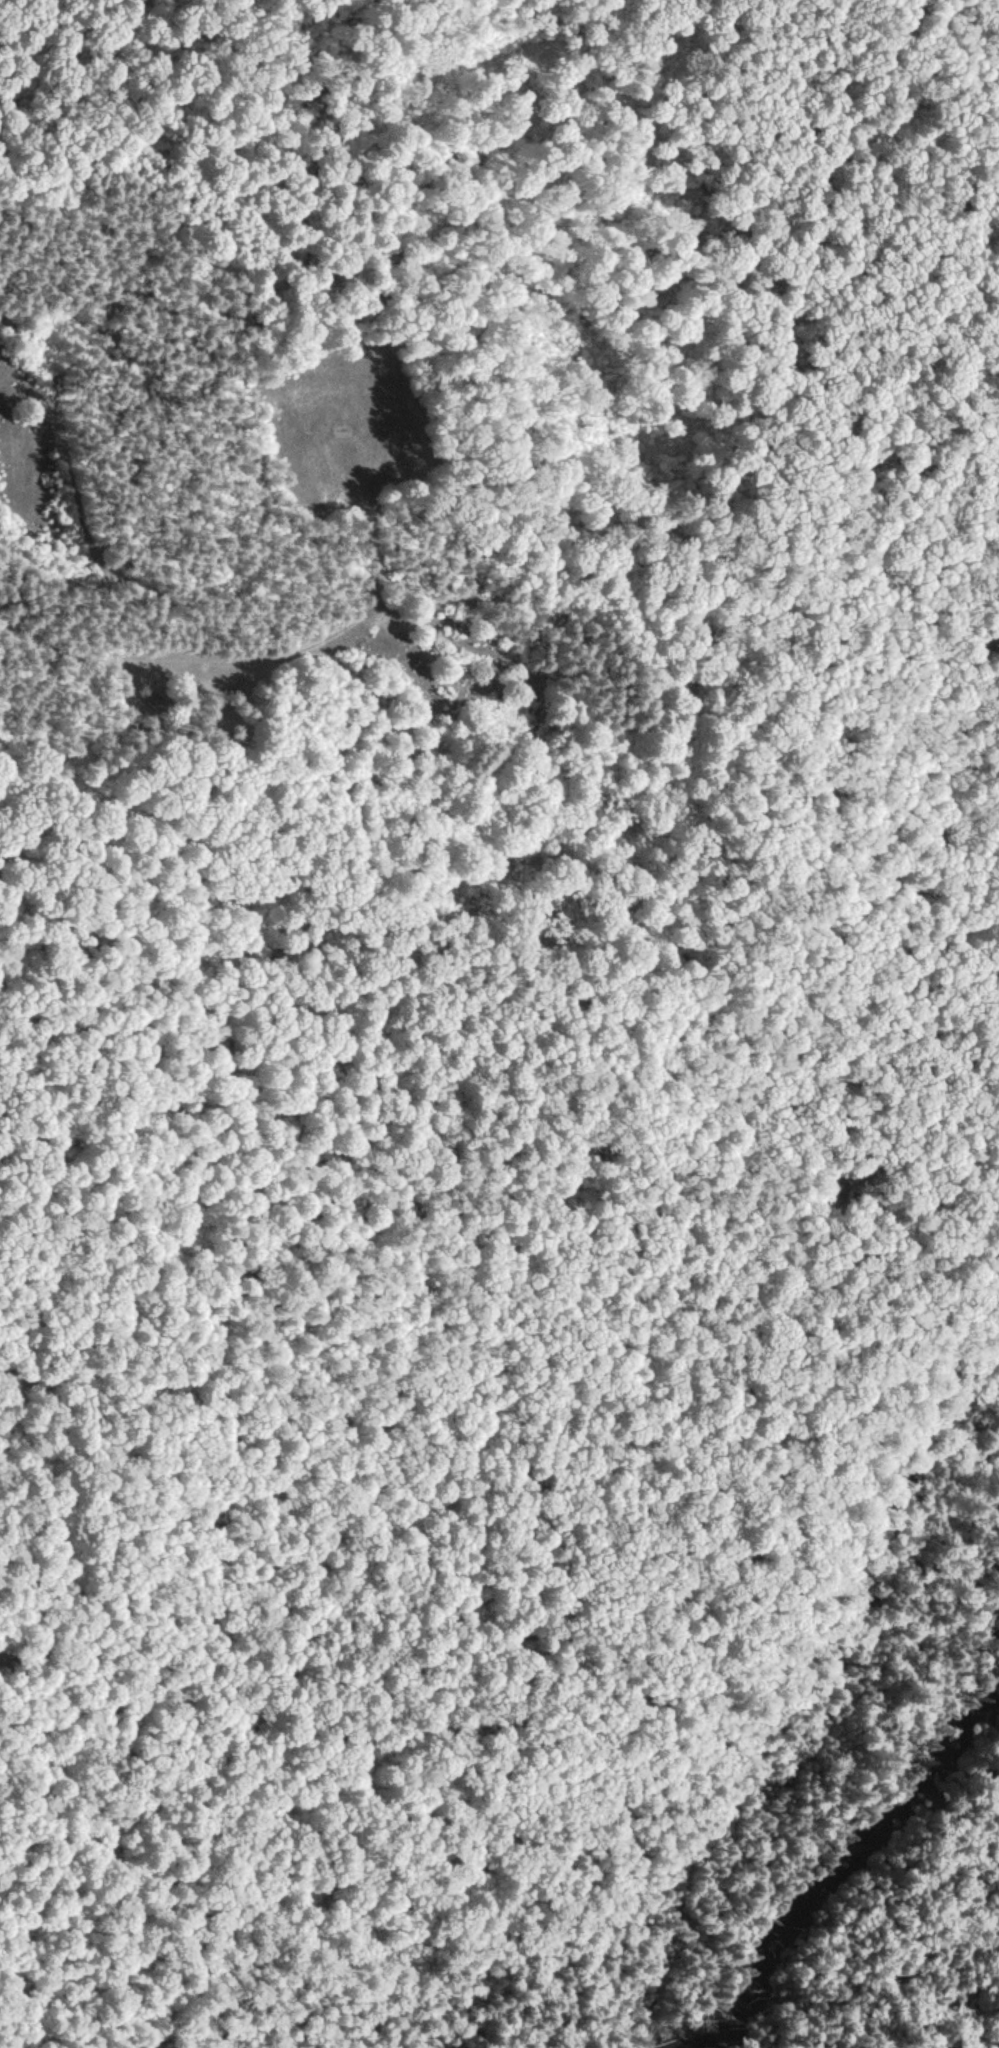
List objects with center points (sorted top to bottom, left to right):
road: (902, 302)
road: (826, 437)
building: (156, 700)
road: (483, 842)
road: (547, 1474)
river: (838, 1860)

